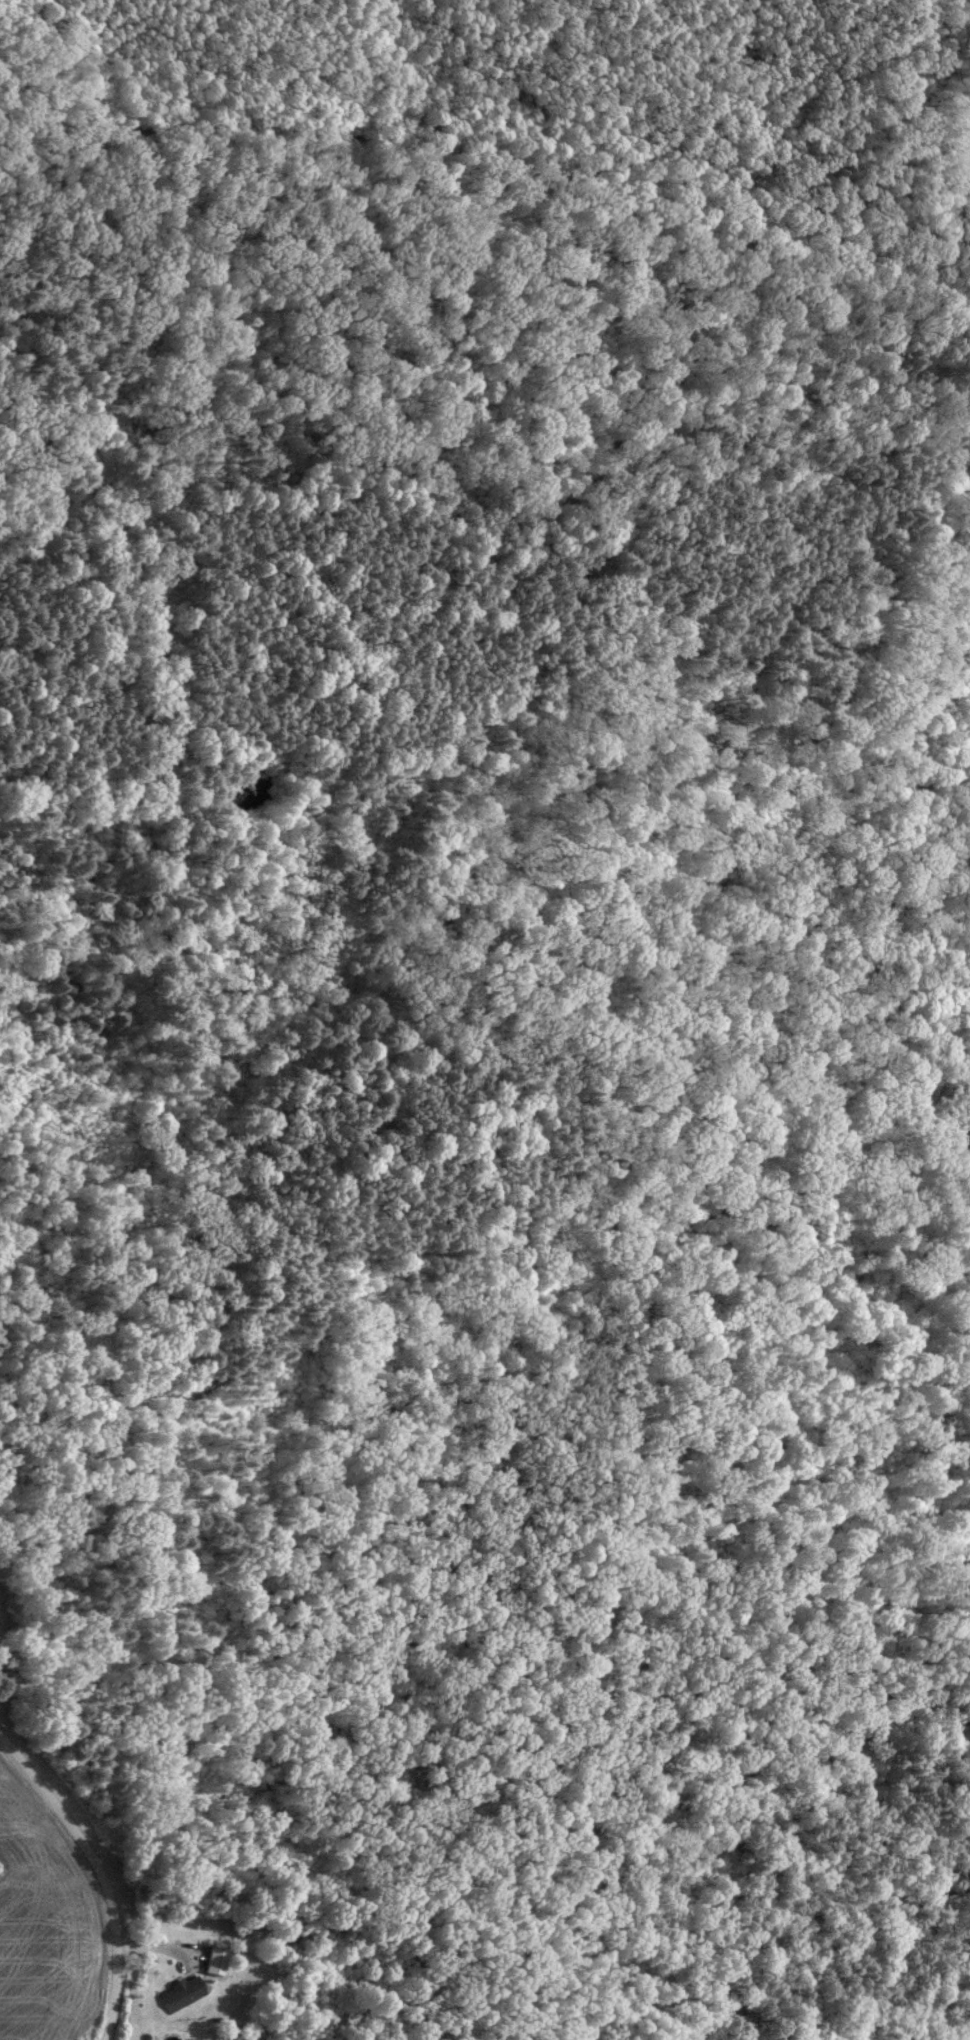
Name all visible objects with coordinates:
road: (97, 1871)
building: (214, 1962)
building: (180, 1995)

